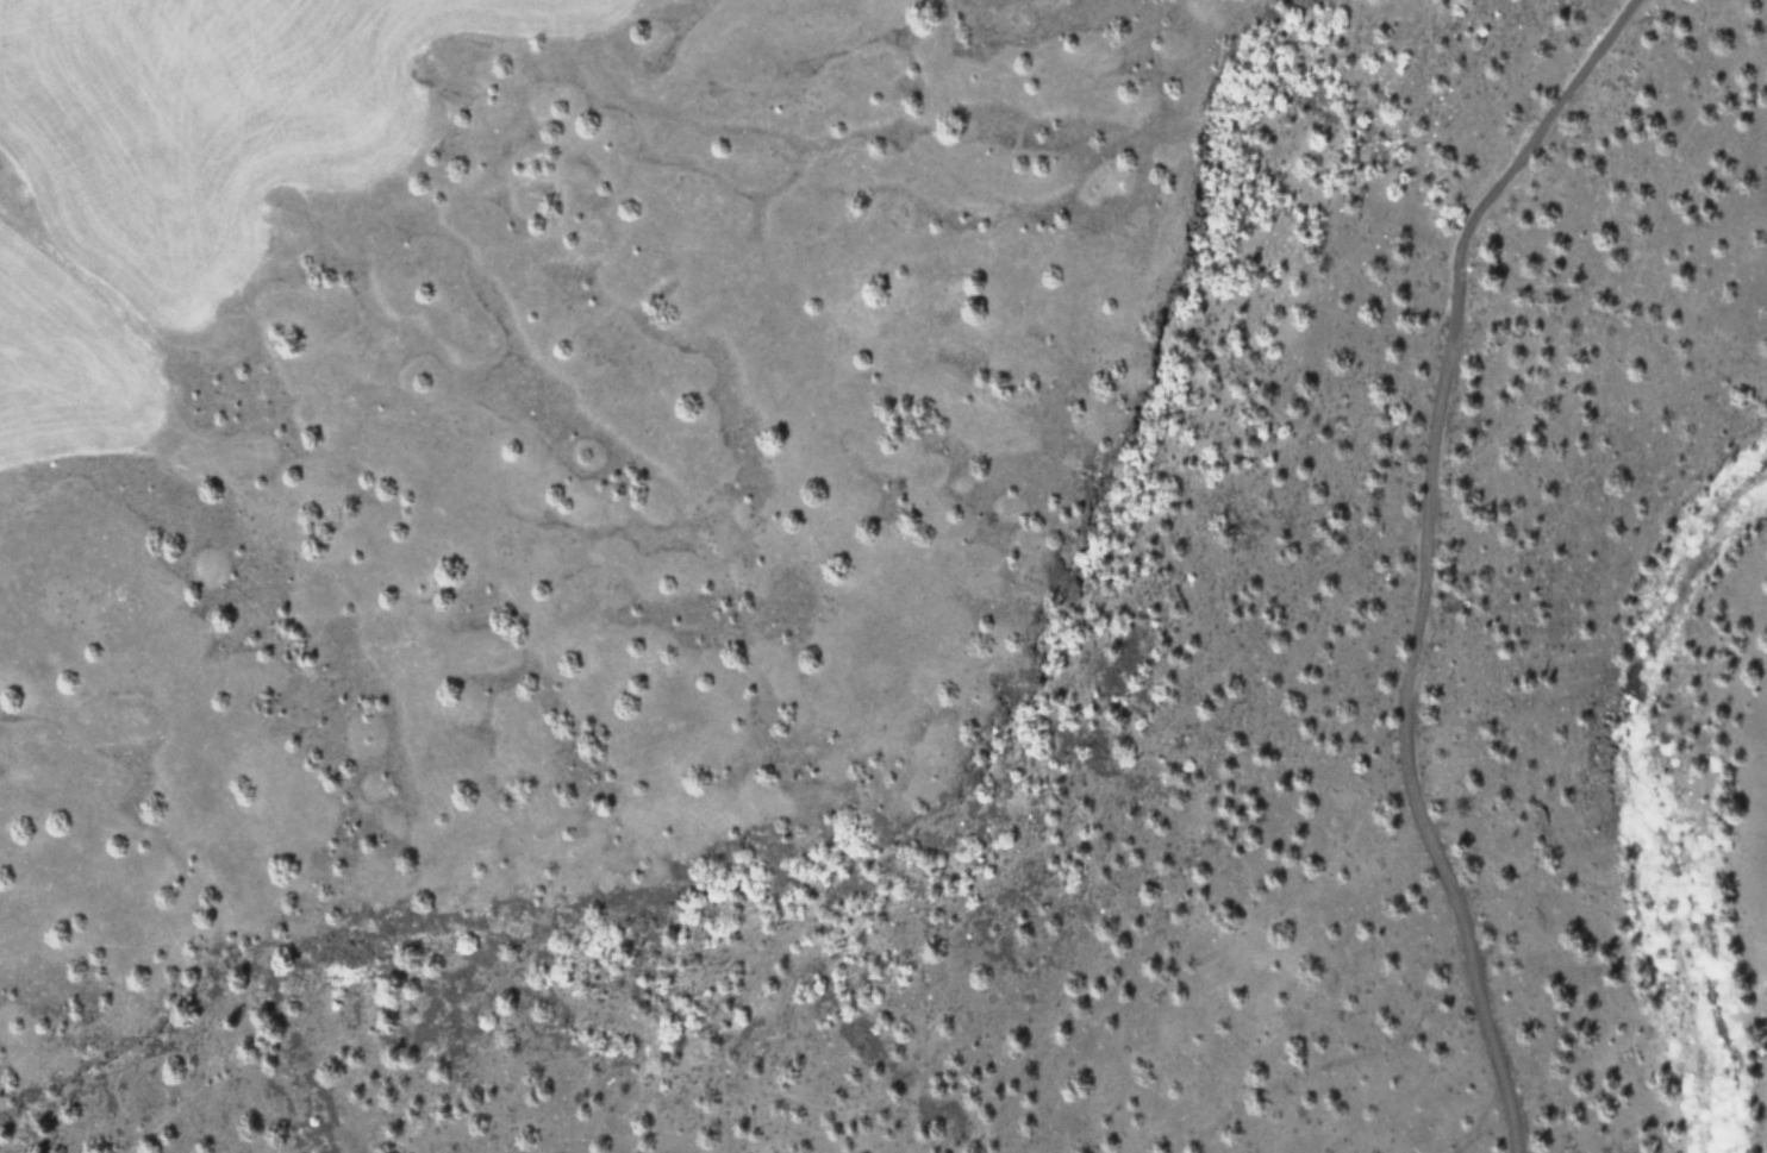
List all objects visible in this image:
road: (1424, 557)

